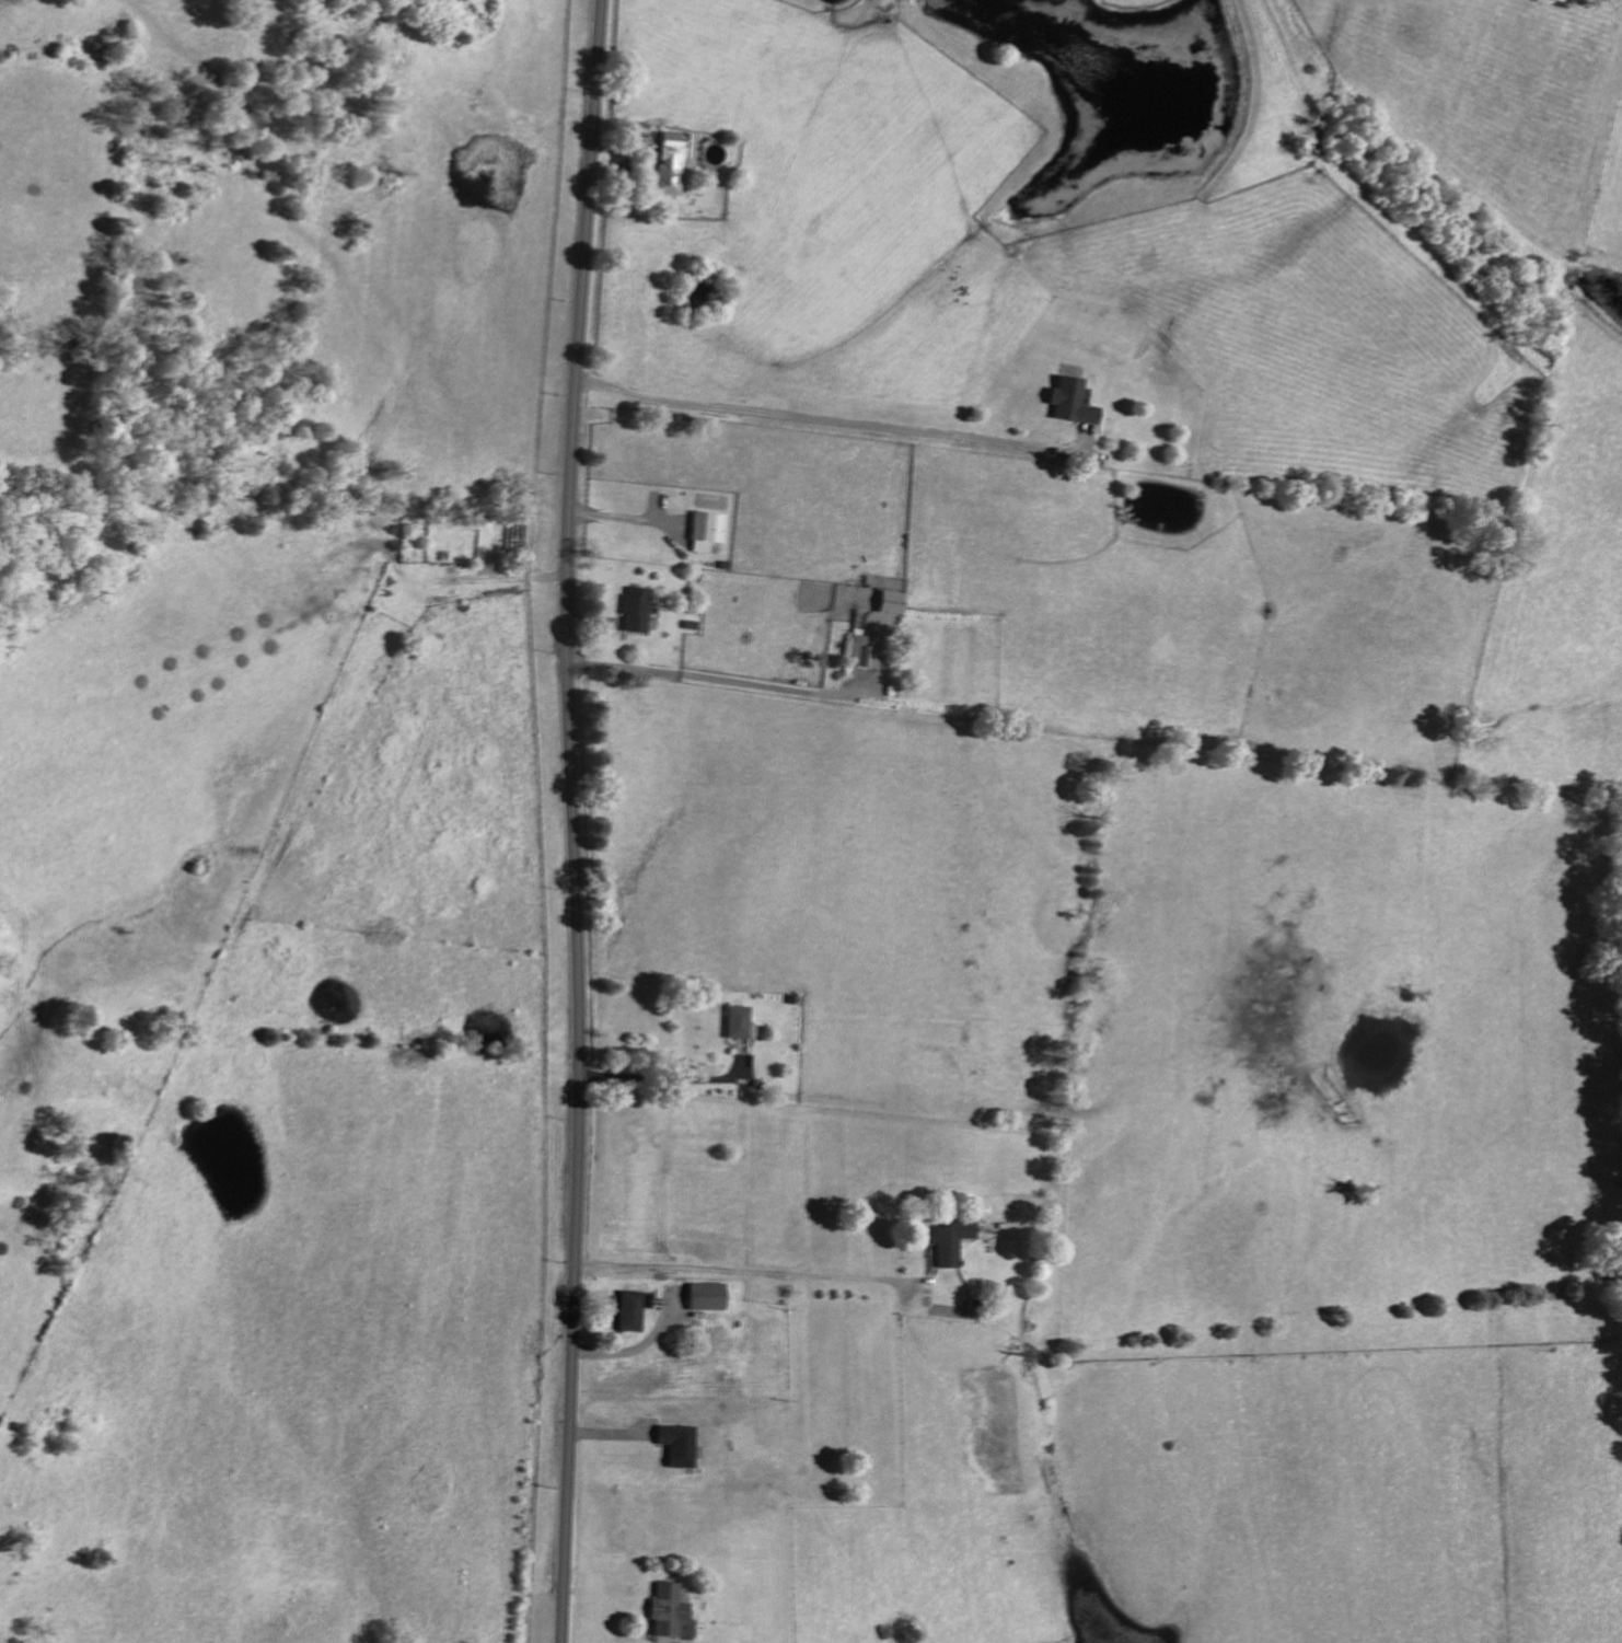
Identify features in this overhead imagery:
building: (672, 163)
building: (1069, 401)
road: (829, 421)
building: (706, 530)
building: (889, 601)
building: (635, 610)
building: (862, 651)
road: (618, 669)
road: (765, 686)
road: (576, 821)
building: (737, 1022)
building: (949, 1241)
road: (743, 1271)
building: (705, 1297)
building: (632, 1310)
building: (677, 1445)
building: (669, 1611)

